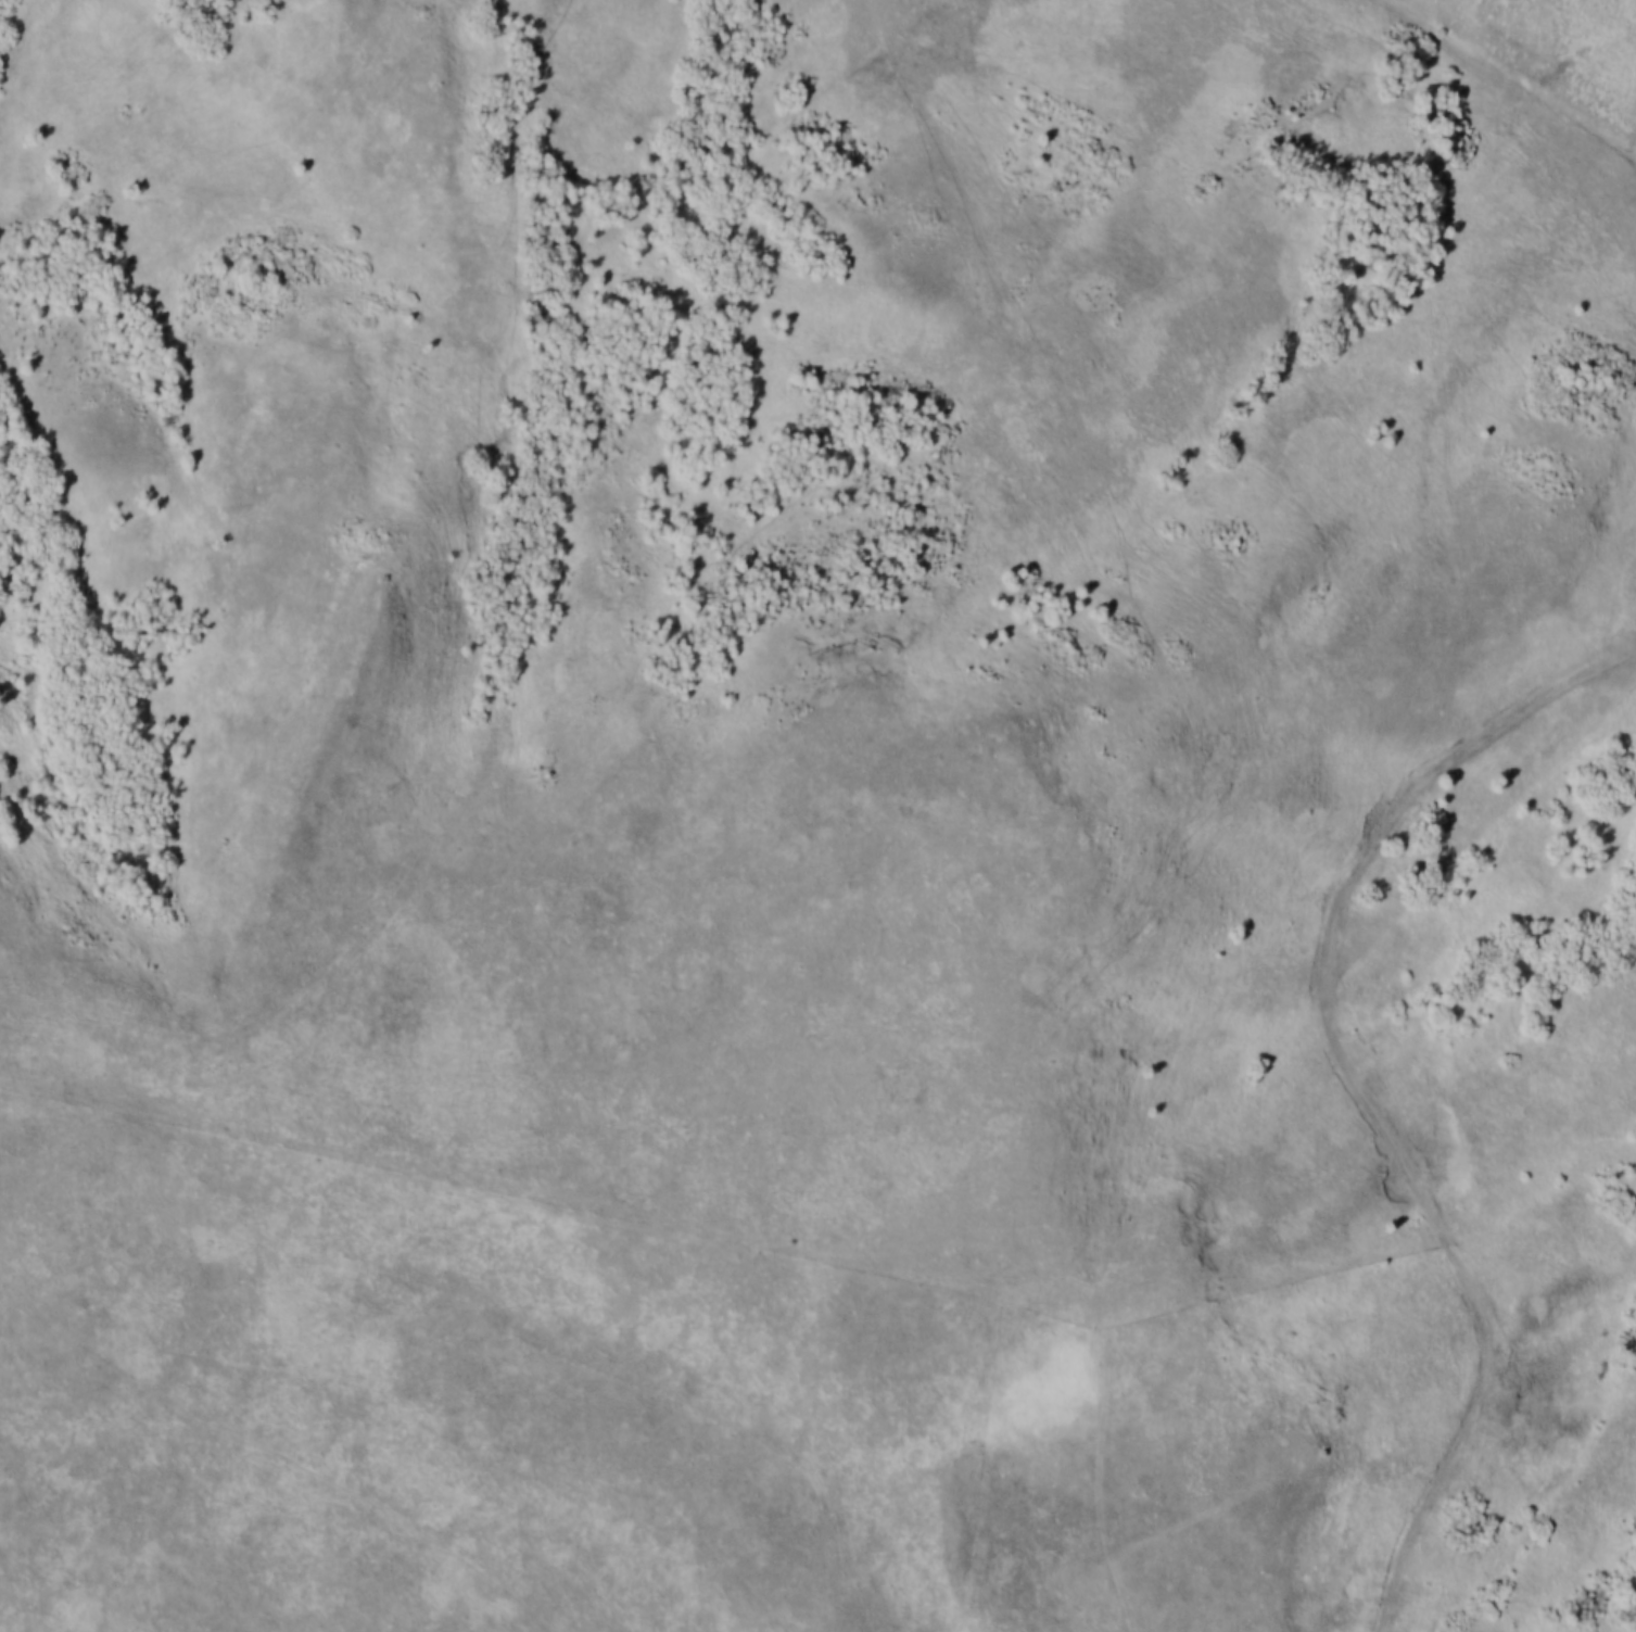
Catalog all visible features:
road: (1571, 88)
road: (1360, 1090)

